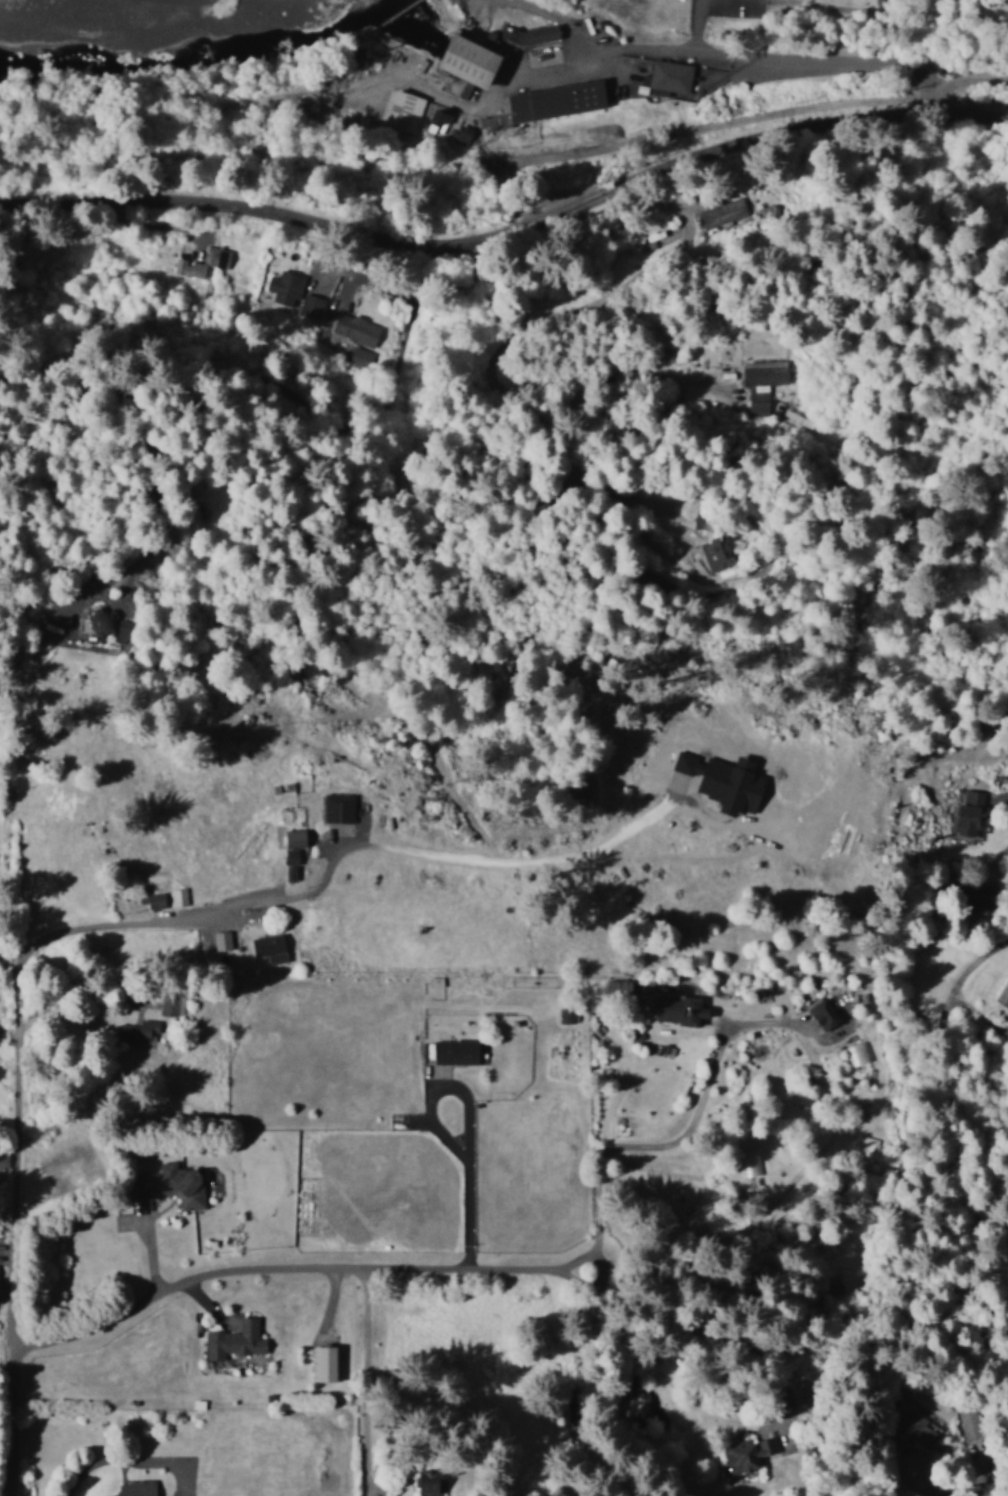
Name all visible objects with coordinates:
building: (535, 35)
road: (845, 37)
river: (176, 56)
building: (467, 63)
building: (669, 78)
building: (555, 101)
building: (402, 109)
building: (436, 120)
building: (458, 131)
railway: (506, 163)
building: (723, 212)
road: (508, 240)
building: (216, 257)
building: (188, 268)
building: (285, 287)
building: (310, 308)
building: (352, 332)
building: (762, 383)
road: (561, 467)
road: (77, 552)
building: (717, 553)
road: (874, 582)
building: (102, 619)
building: (124, 629)
road: (36, 673)
building: (338, 807)
building: (970, 811)
building: (294, 838)
building: (290, 856)
building: (289, 872)
road: (995, 877)
road: (43, 887)
building: (178, 896)
building: (154, 900)
building: (221, 940)
building: (267, 945)
building: (1003, 993)
building: (168, 1003)
building: (679, 1008)
building: (823, 1013)
building: (567, 1015)
building: (143, 1033)
building: (455, 1051)
building: (855, 1053)
road: (13, 1127)
building: (869, 1143)
road: (947, 1158)
building: (3, 1159)
building: (750, 1165)
building: (171, 1187)
road: (947, 1255)
road: (287, 1266)
road: (502, 1289)
building: (235, 1340)
road: (503, 1348)
building: (323, 1363)
building: (918, 1428)
building: (746, 1456)
building: (428, 1481)
building: (135, 1488)

